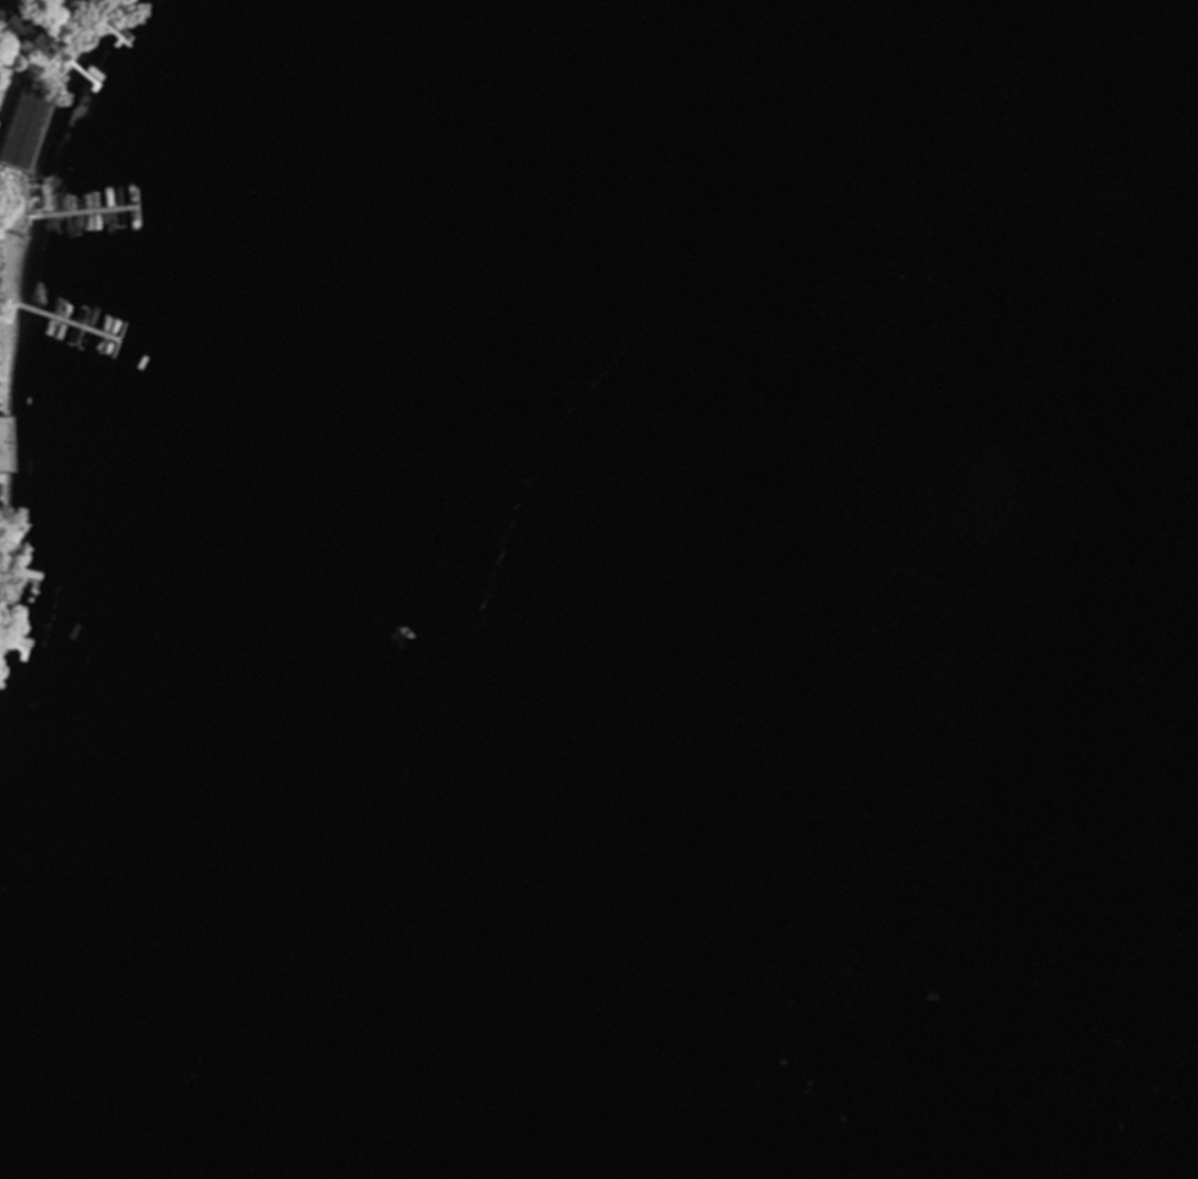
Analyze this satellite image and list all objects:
building: (75, 0)
building: (21, 33)
building: (15, 126)
building: (5, 447)

